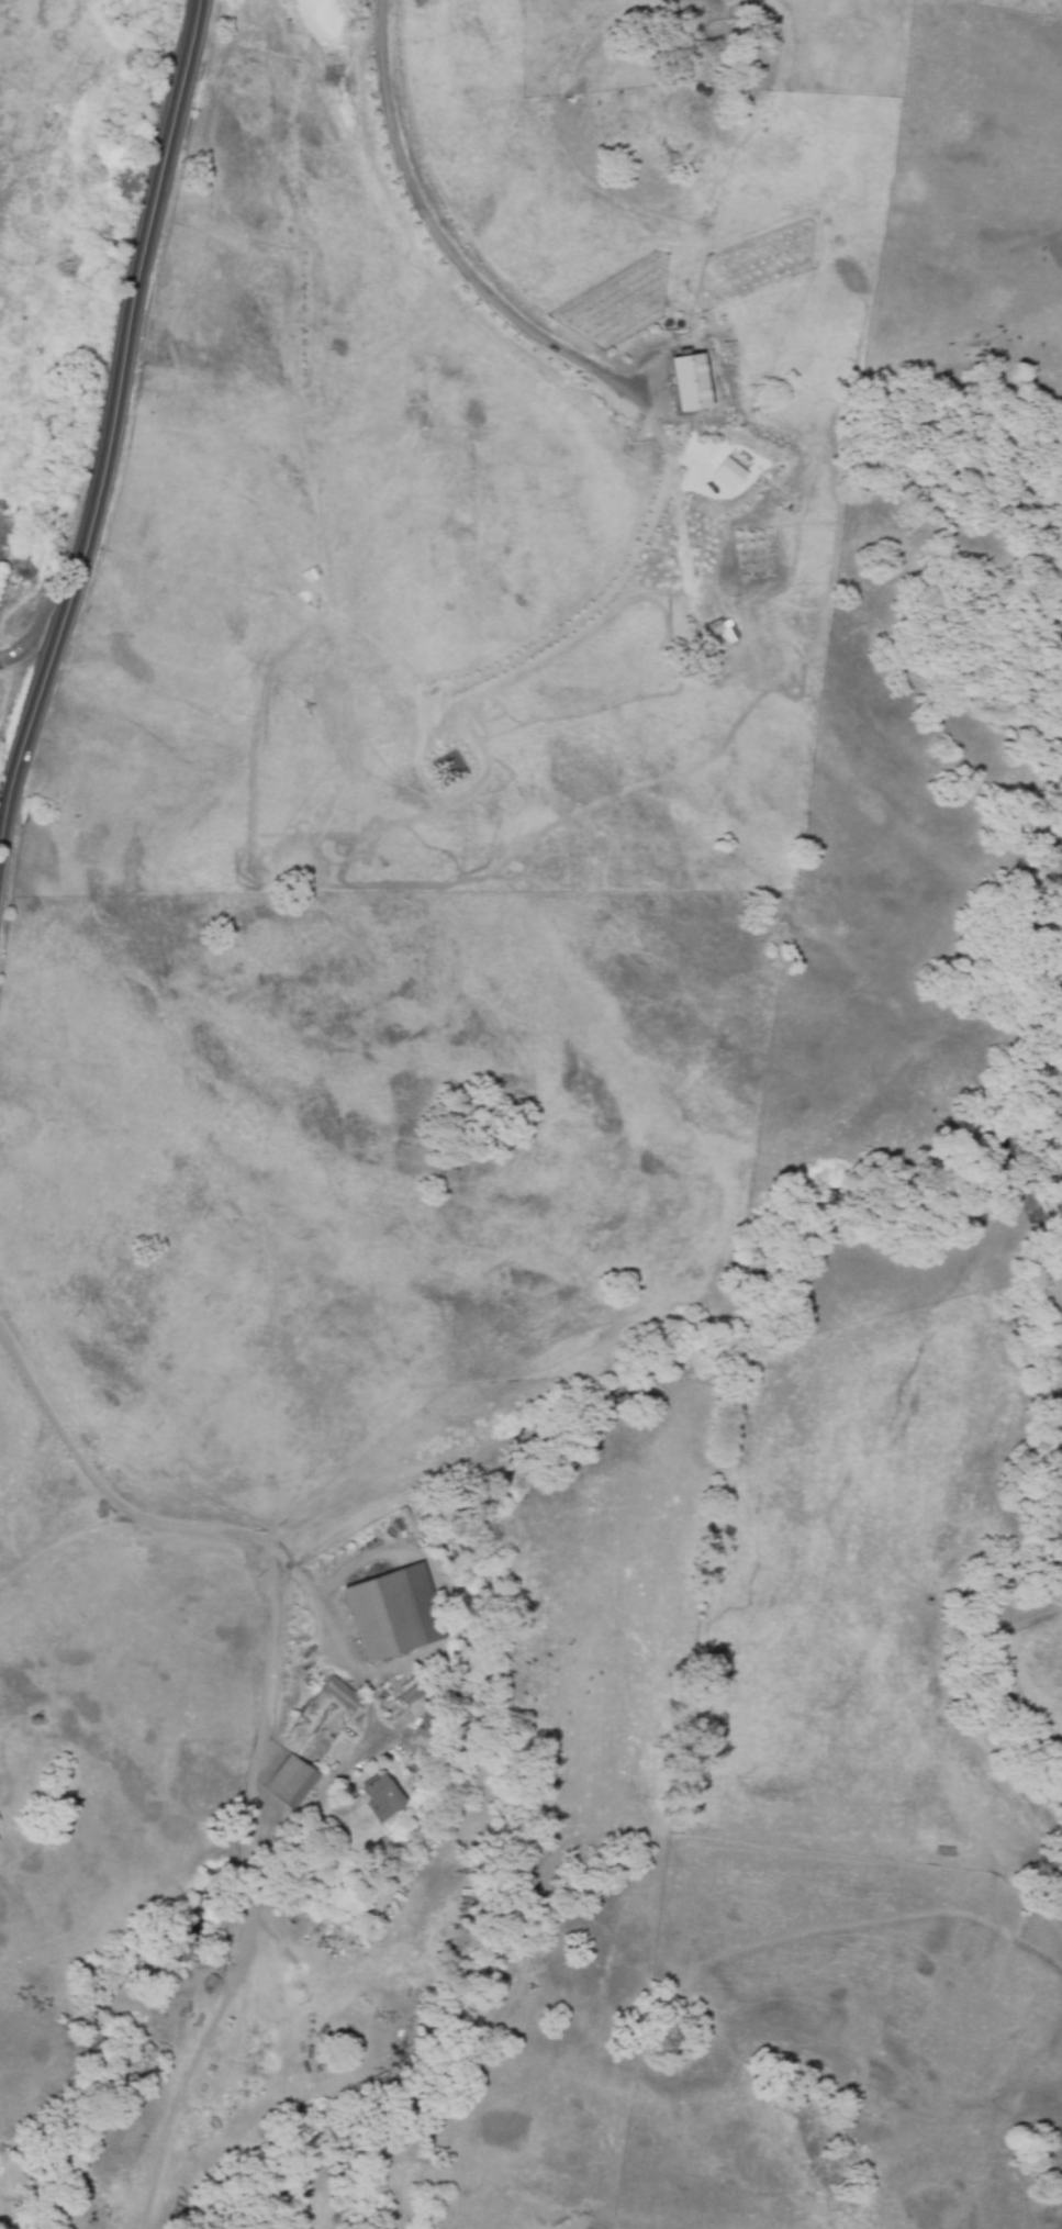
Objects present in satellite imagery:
road: (438, 245)
building: (694, 379)
road: (108, 402)
building: (729, 475)
road: (27, 628)
building: (725, 629)
road: (156, 1530)
building: (394, 1614)
road: (266, 1665)
building: (339, 1694)
building: (291, 1782)
building: (383, 1798)

